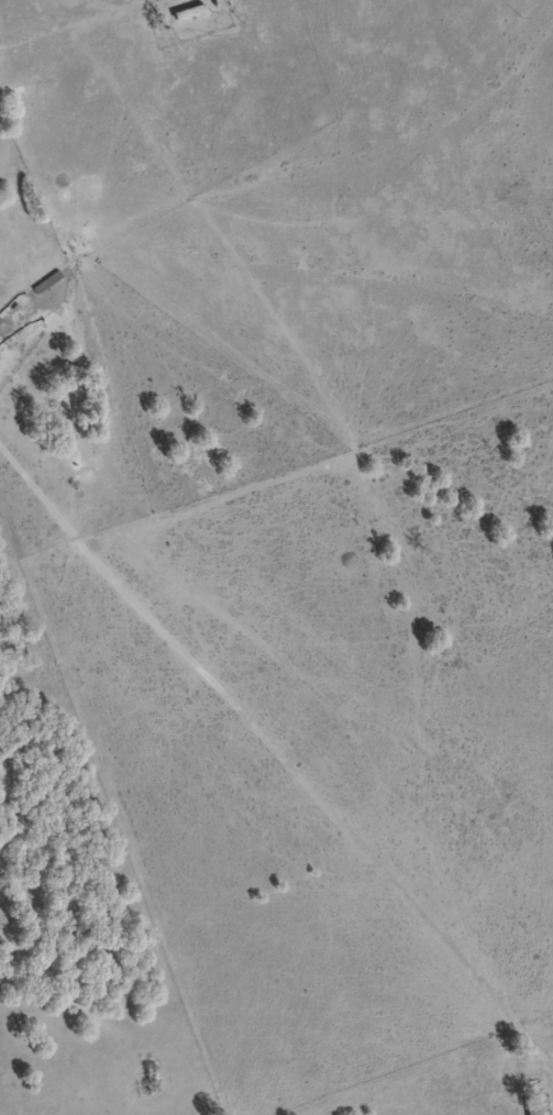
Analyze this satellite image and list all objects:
building: (187, 11)
road: (457, 173)
building: (534, 1106)

